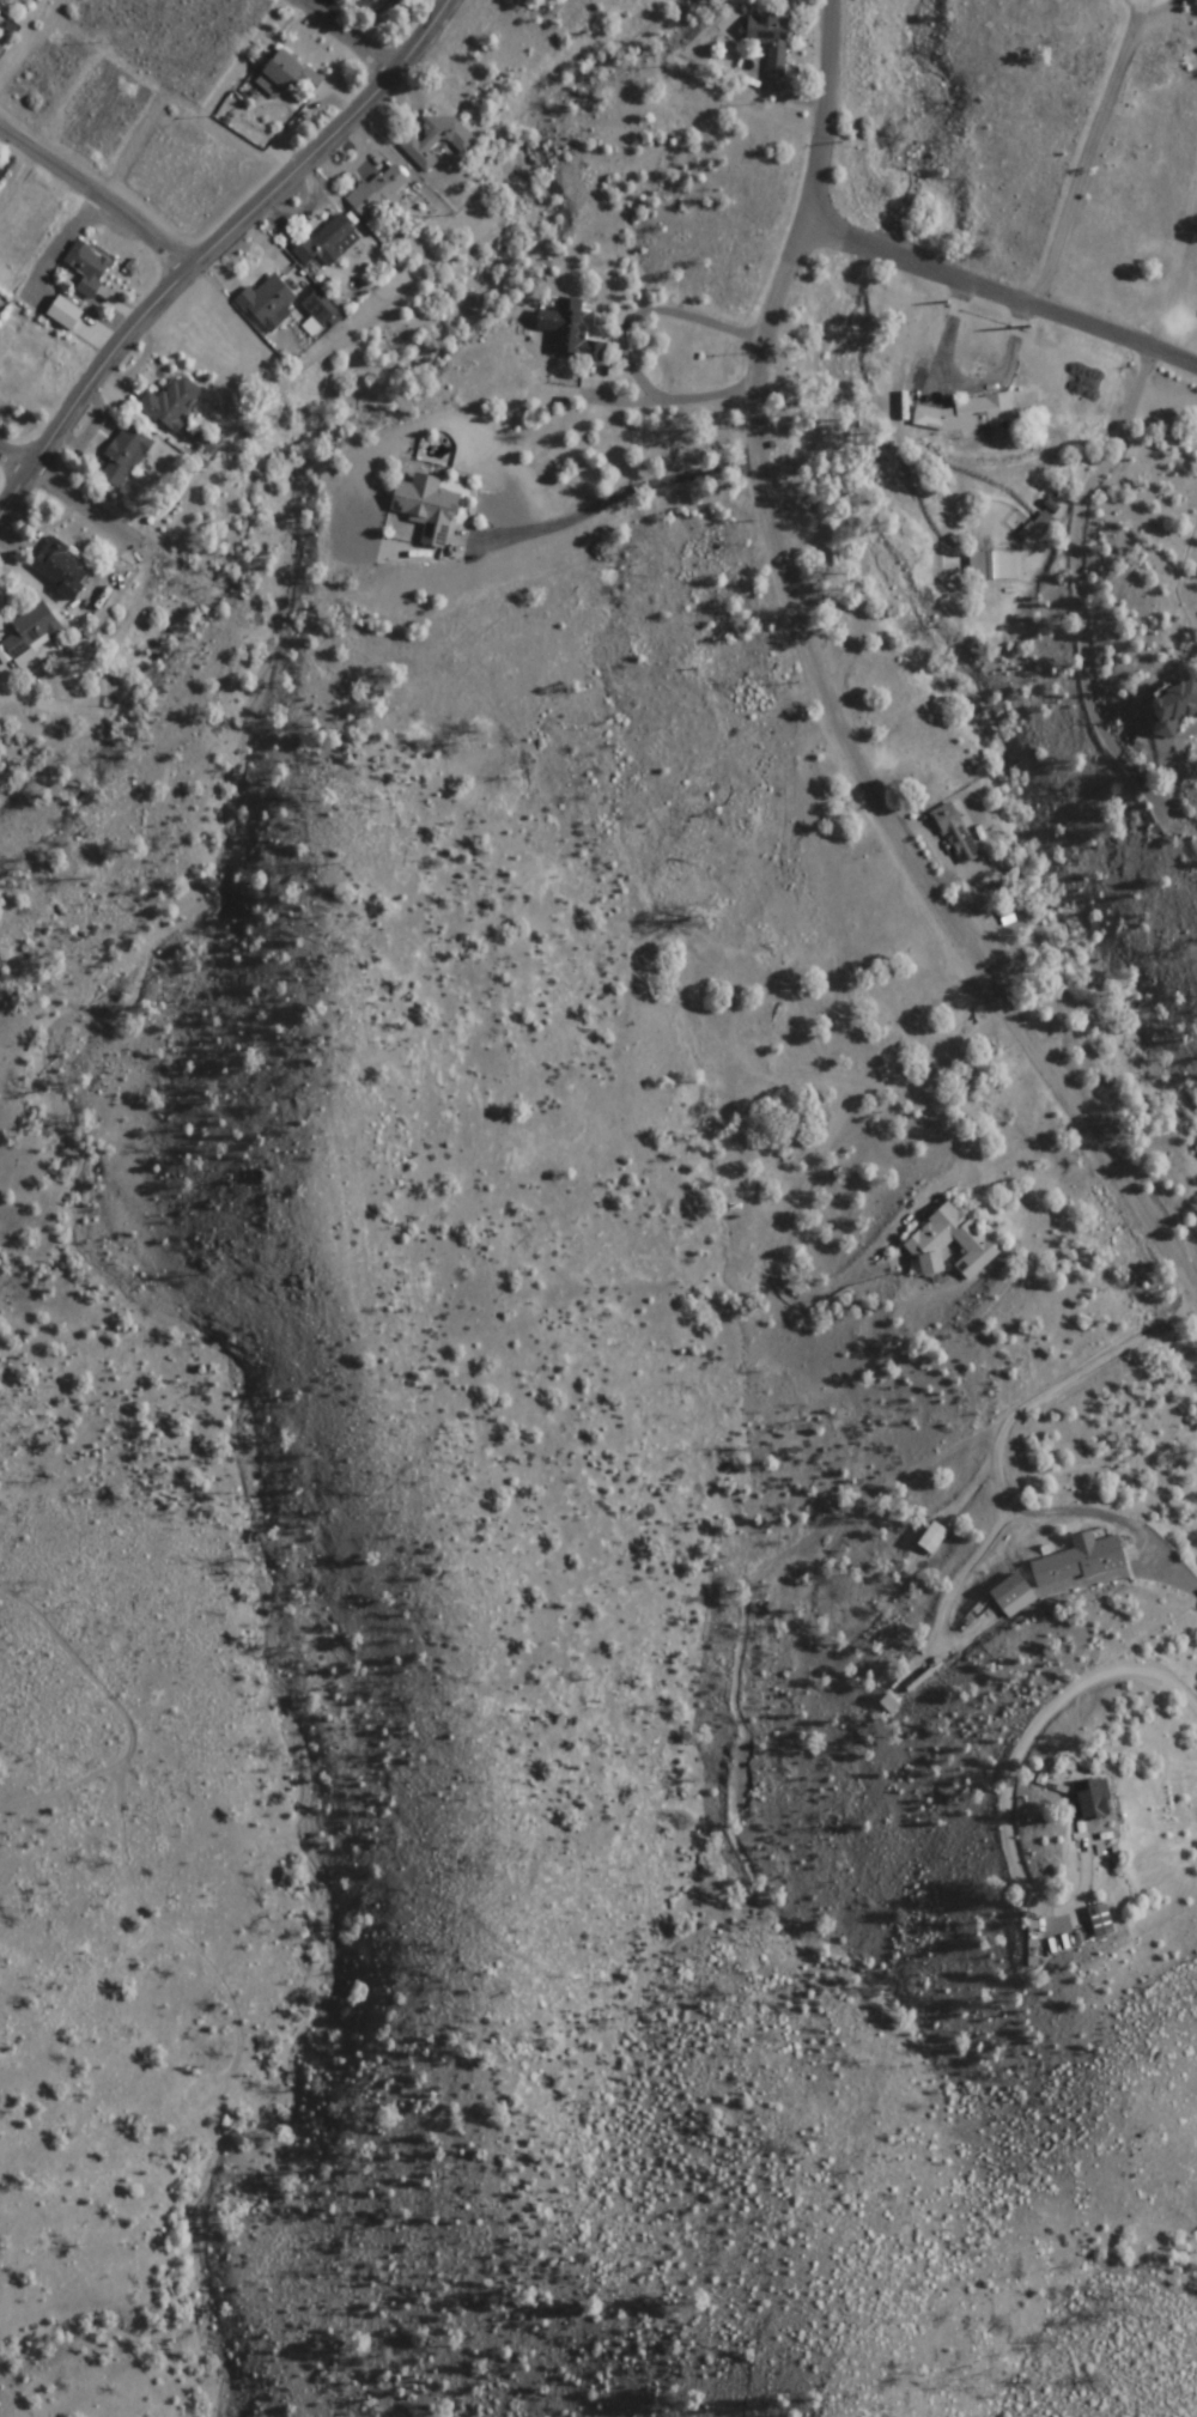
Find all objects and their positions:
building: (0, 0)
building: (381, 1)
road: (1192, 17)
road: (354, 32)
building: (770, 41)
building: (292, 75)
building: (419, 154)
building: (378, 193)
road: (99, 194)
road: (1187, 196)
building: (327, 244)
road: (214, 248)
building: (87, 267)
road: (1004, 292)
building: (267, 302)
building: (320, 308)
building: (570, 330)
building: (19, 365)
building: (171, 402)
building: (967, 413)
building: (124, 455)
road: (65, 487)
building: (426, 509)
building: (1038, 530)
building: (62, 569)
building: (32, 632)
road: (827, 684)
building: (1174, 706)
building: (955, 833)
building: (928, 1239)
building: (1080, 1559)
building: (1010, 1589)
building: (1093, 1798)
building: (1101, 1920)

